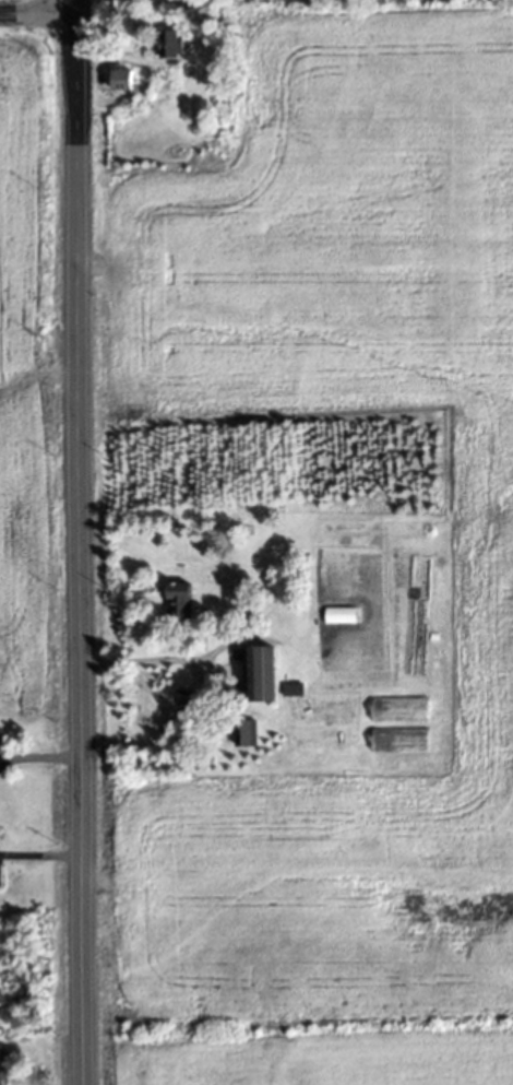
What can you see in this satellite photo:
road: (32, 9)
building: (170, 43)
building: (124, 79)
road: (73, 542)
building: (179, 599)
road: (140, 658)
building: (261, 671)
building: (291, 687)
building: (246, 732)
road: (37, 756)
road: (38, 856)
building: (1, 876)
building: (0, 1065)

